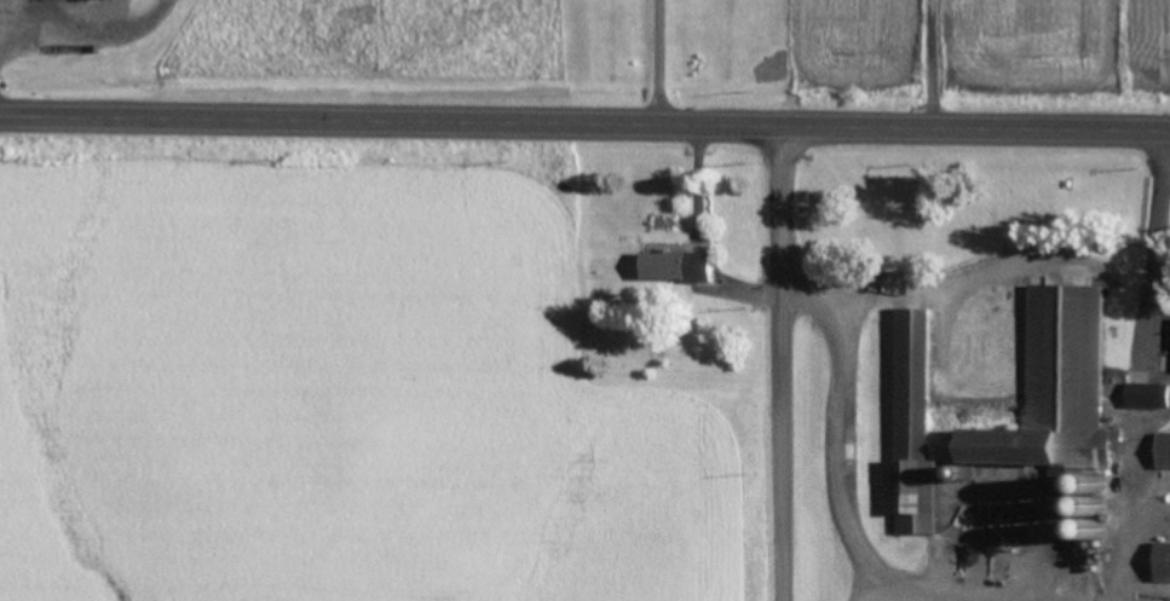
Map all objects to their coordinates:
building: (99, 0)
road: (656, 62)
road: (929, 63)
road: (584, 123)
road: (1153, 248)
building: (670, 268)
road: (777, 363)
building: (1061, 371)
building: (1145, 399)
road: (837, 428)
building: (1162, 455)
road: (1129, 502)
building: (1159, 566)
road: (917, 593)

